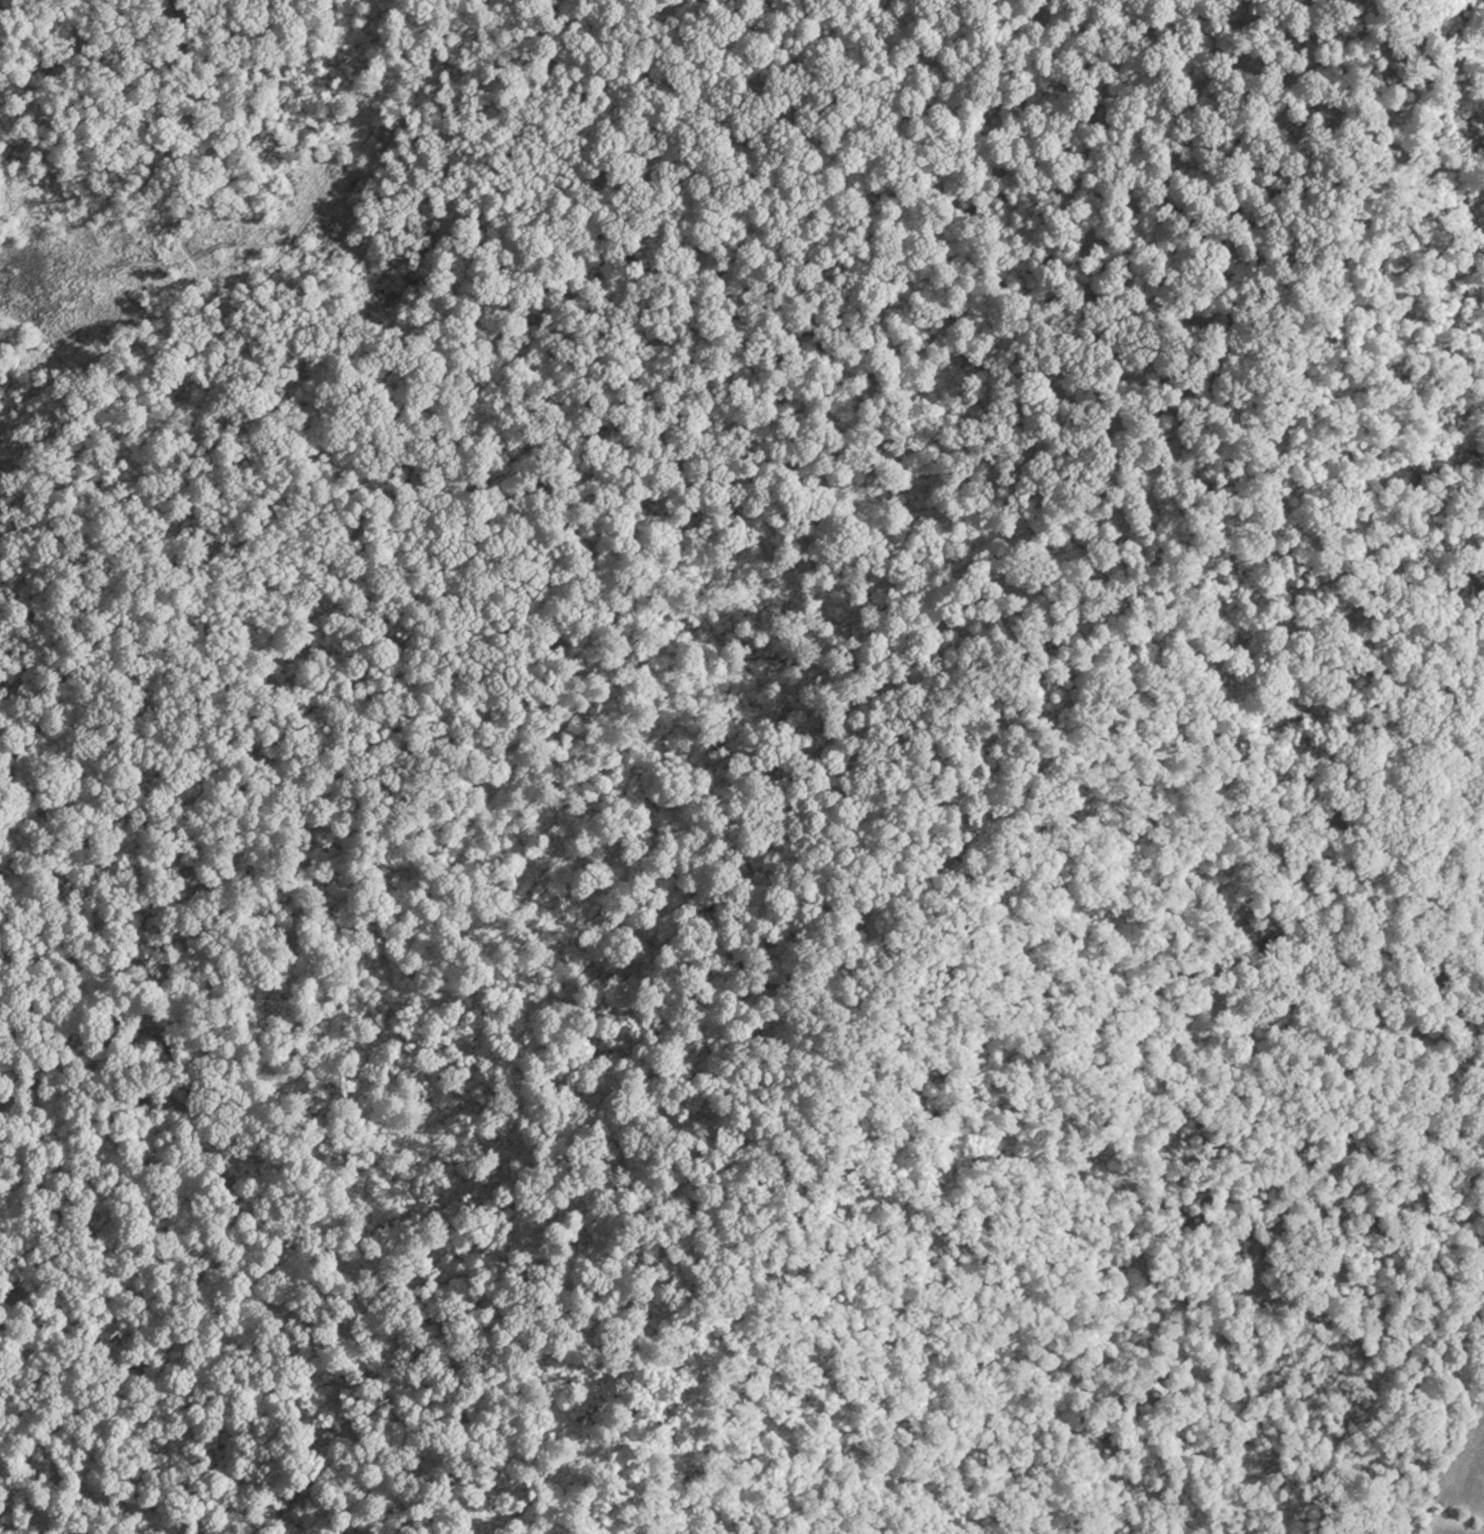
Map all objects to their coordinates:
building: (1480, 939)

